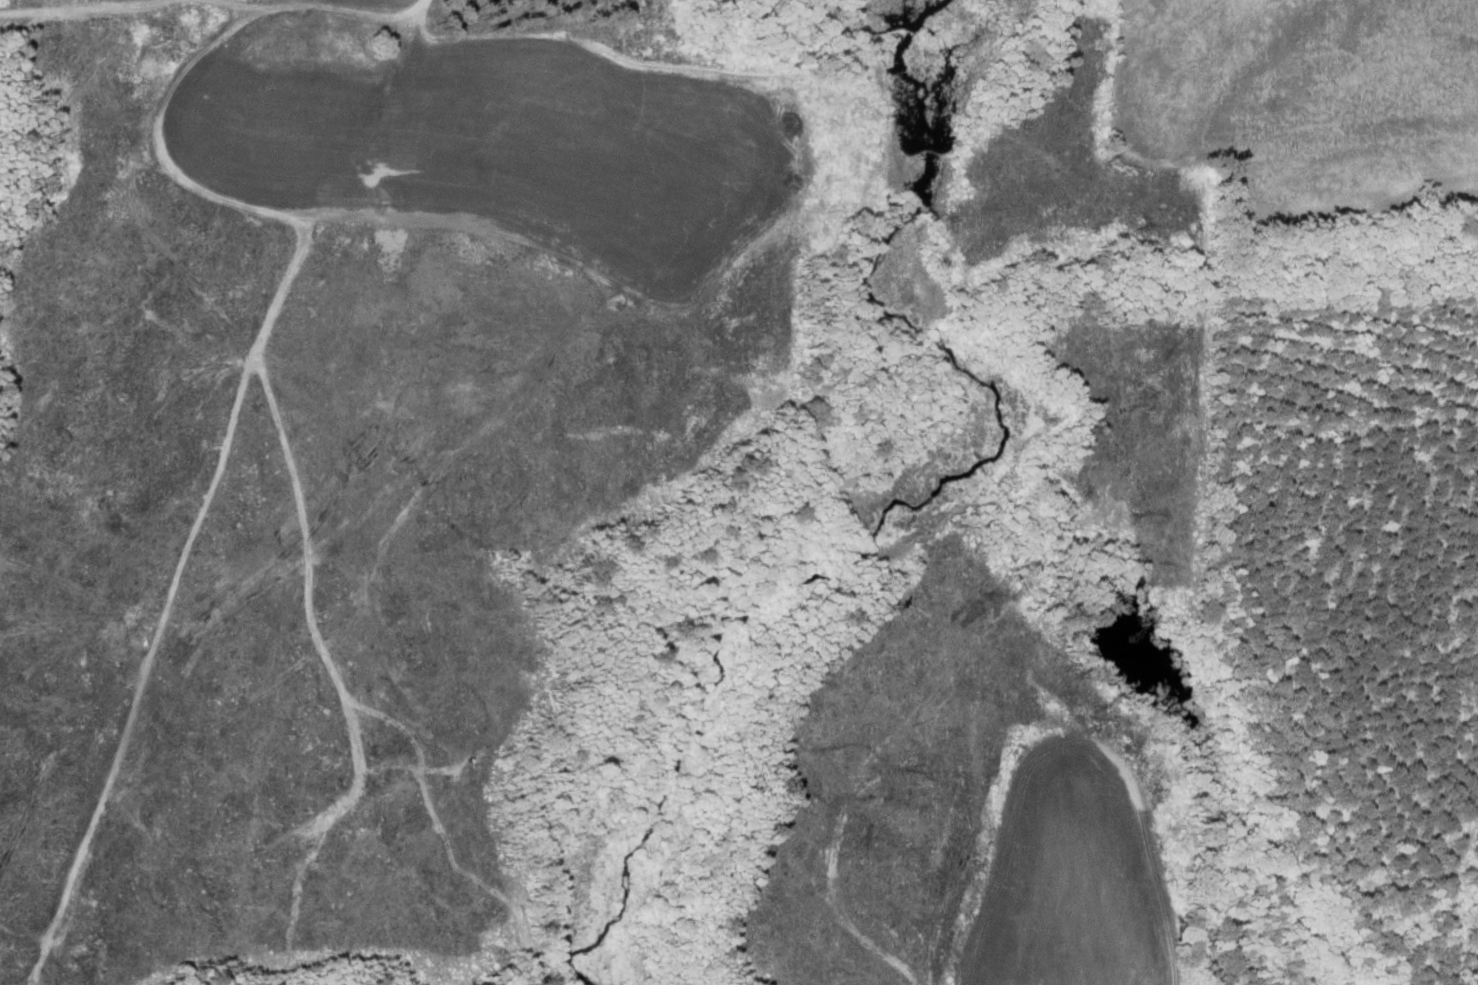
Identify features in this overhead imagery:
building: (114, 654)

